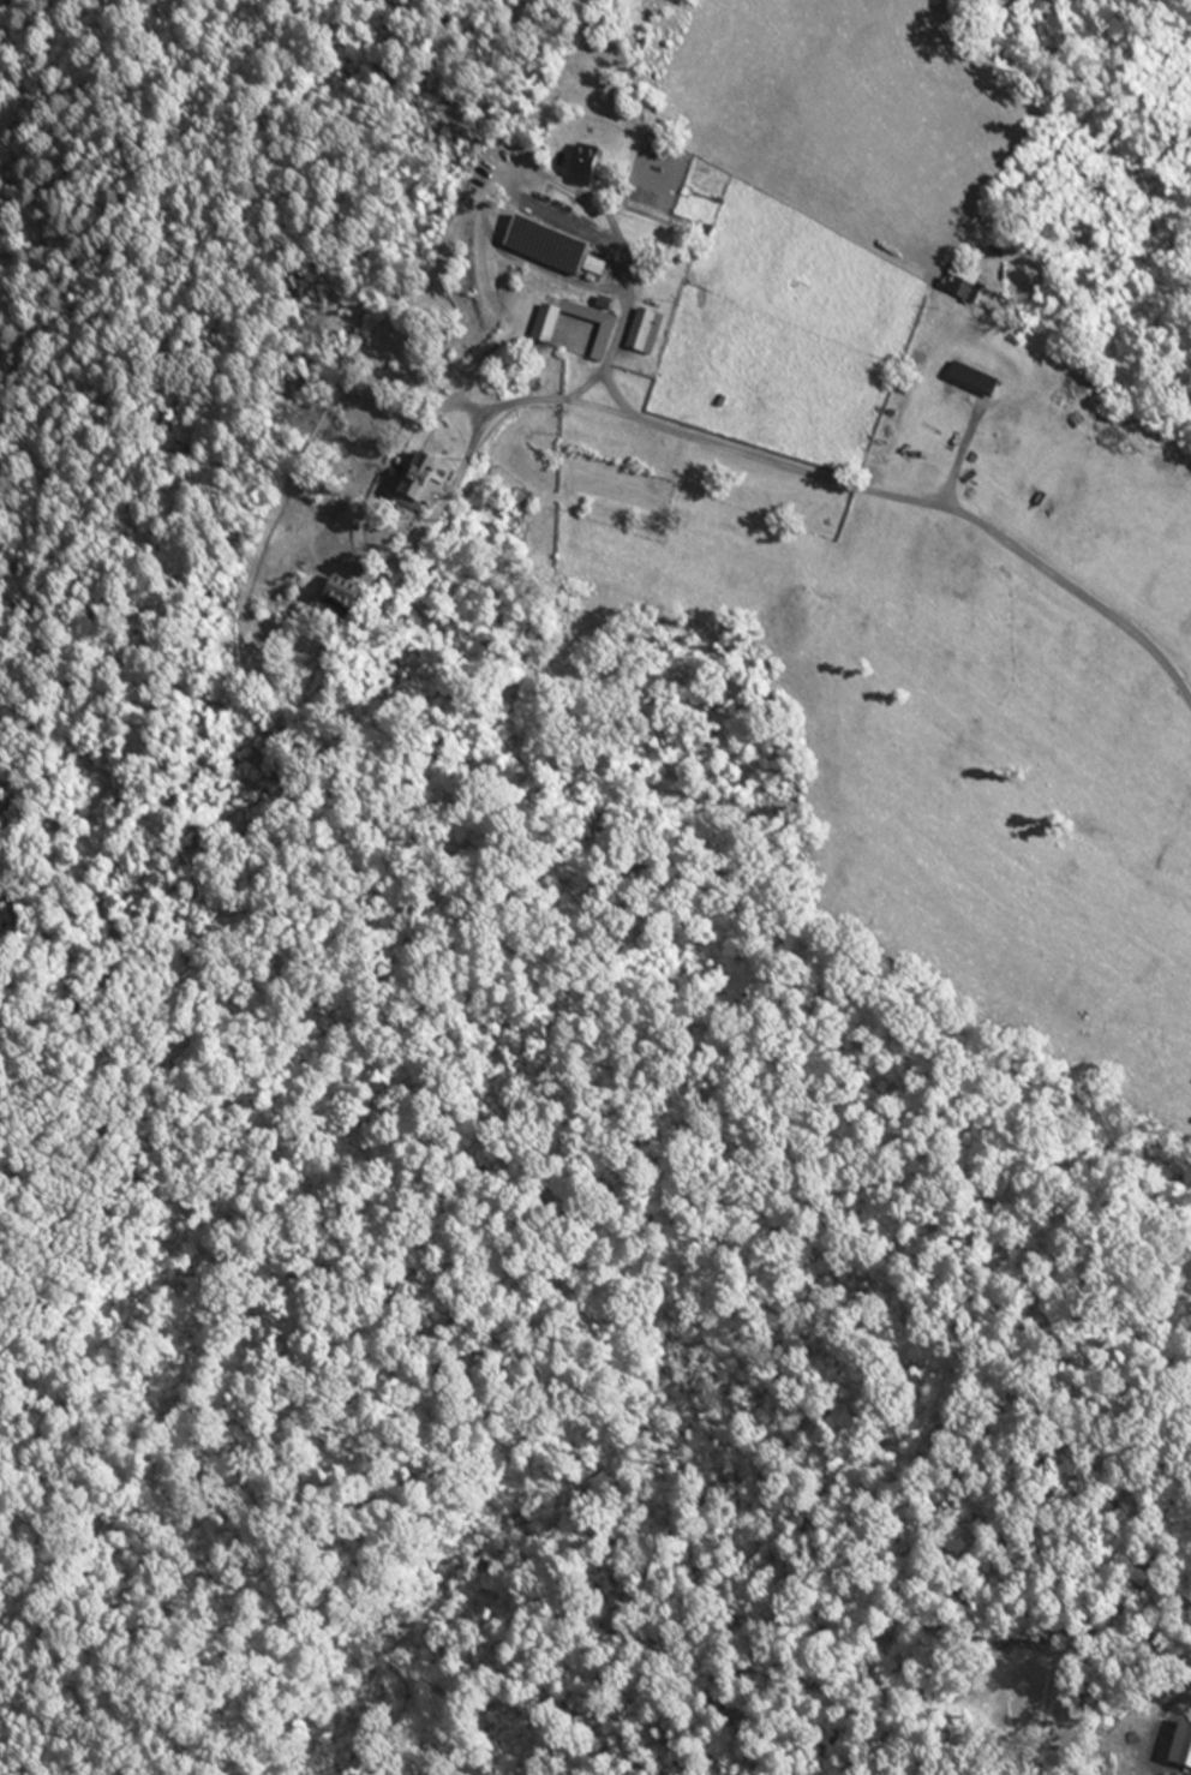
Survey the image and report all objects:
building: (588, 166)
road: (622, 318)
building: (648, 331)
building: (550, 333)
building: (977, 381)
road: (779, 462)
building: (427, 486)
building: (347, 598)

